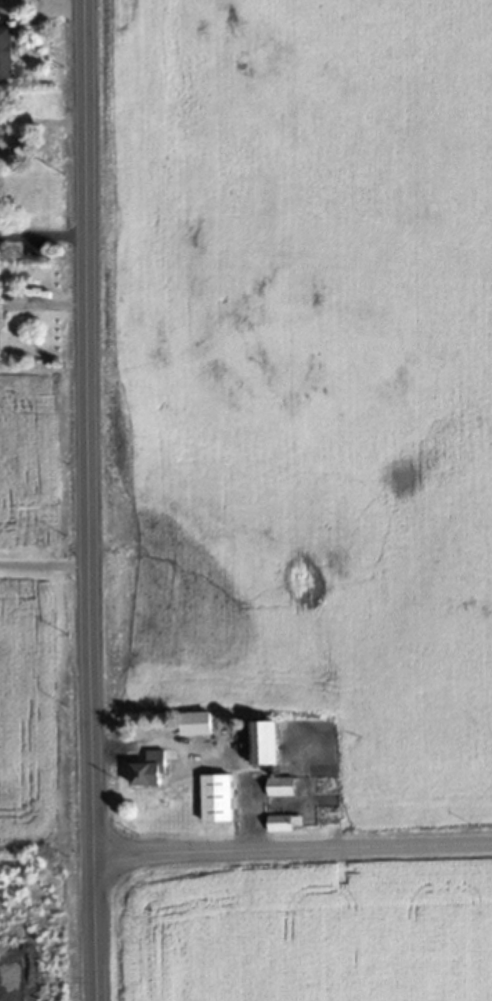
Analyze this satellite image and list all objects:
building: (5, 50)
road: (43, 235)
road: (88, 500)
road: (44, 562)
building: (196, 722)
building: (266, 742)
building: (148, 774)
building: (280, 785)
building: (216, 797)
building: (279, 822)
road: (292, 851)

